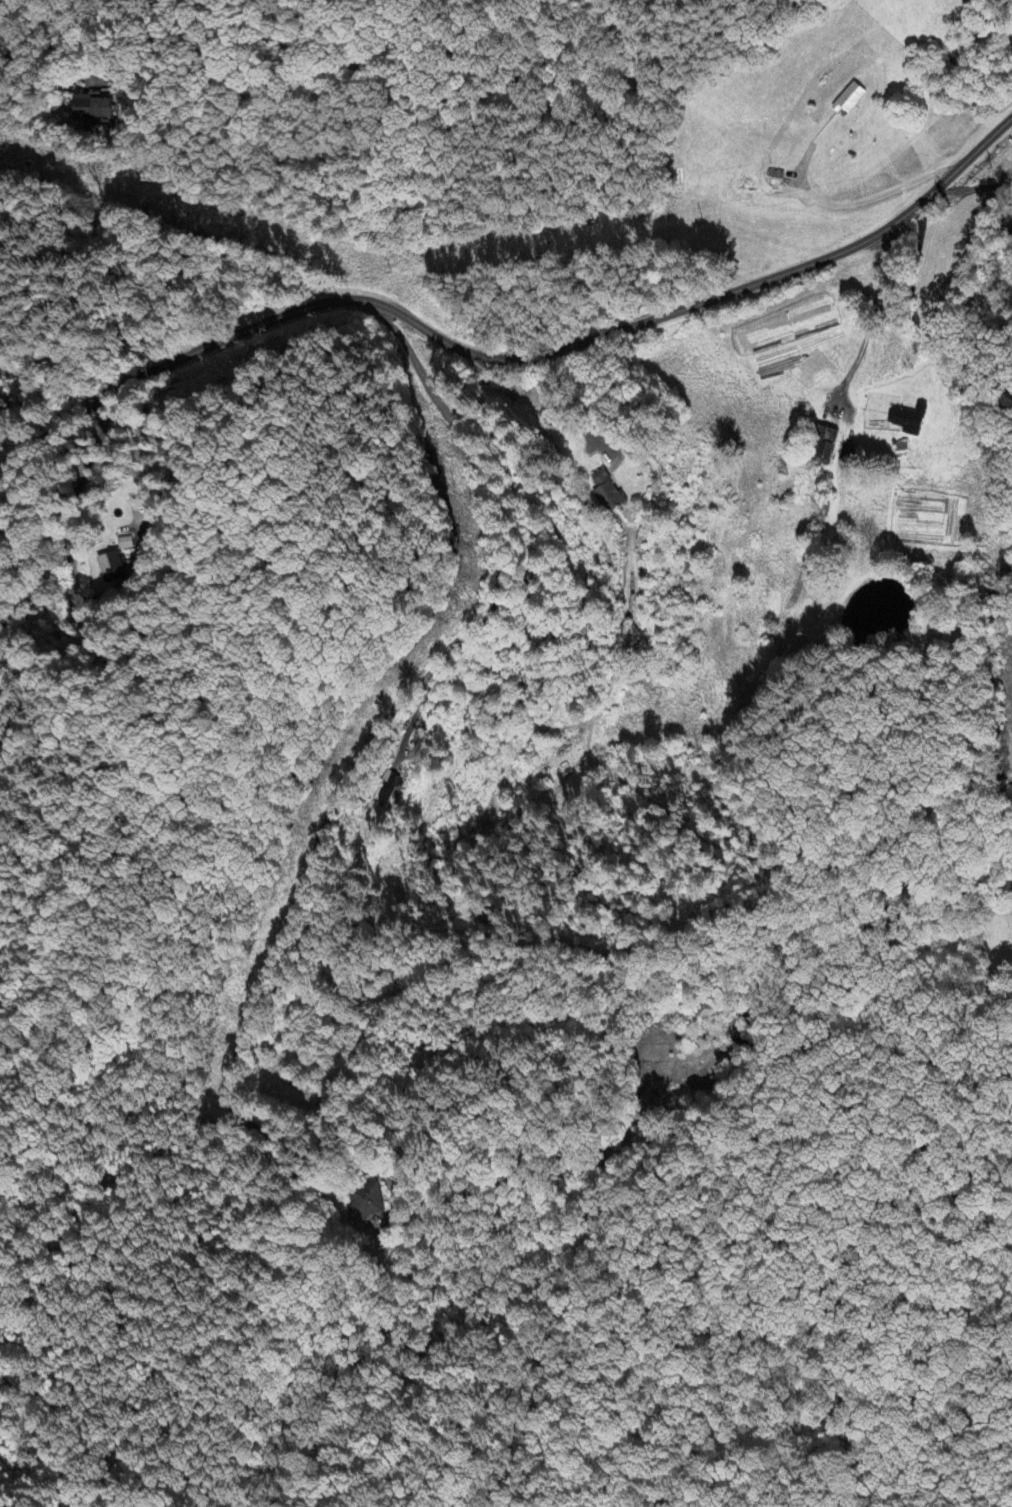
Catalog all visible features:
building: (95, 109)
road: (917, 323)
road: (513, 356)
road: (560, 404)
building: (908, 420)
building: (825, 446)
building: (608, 491)
building: (114, 565)
road: (358, 775)
building: (393, 784)
building: (649, 1102)
building: (367, 1201)

